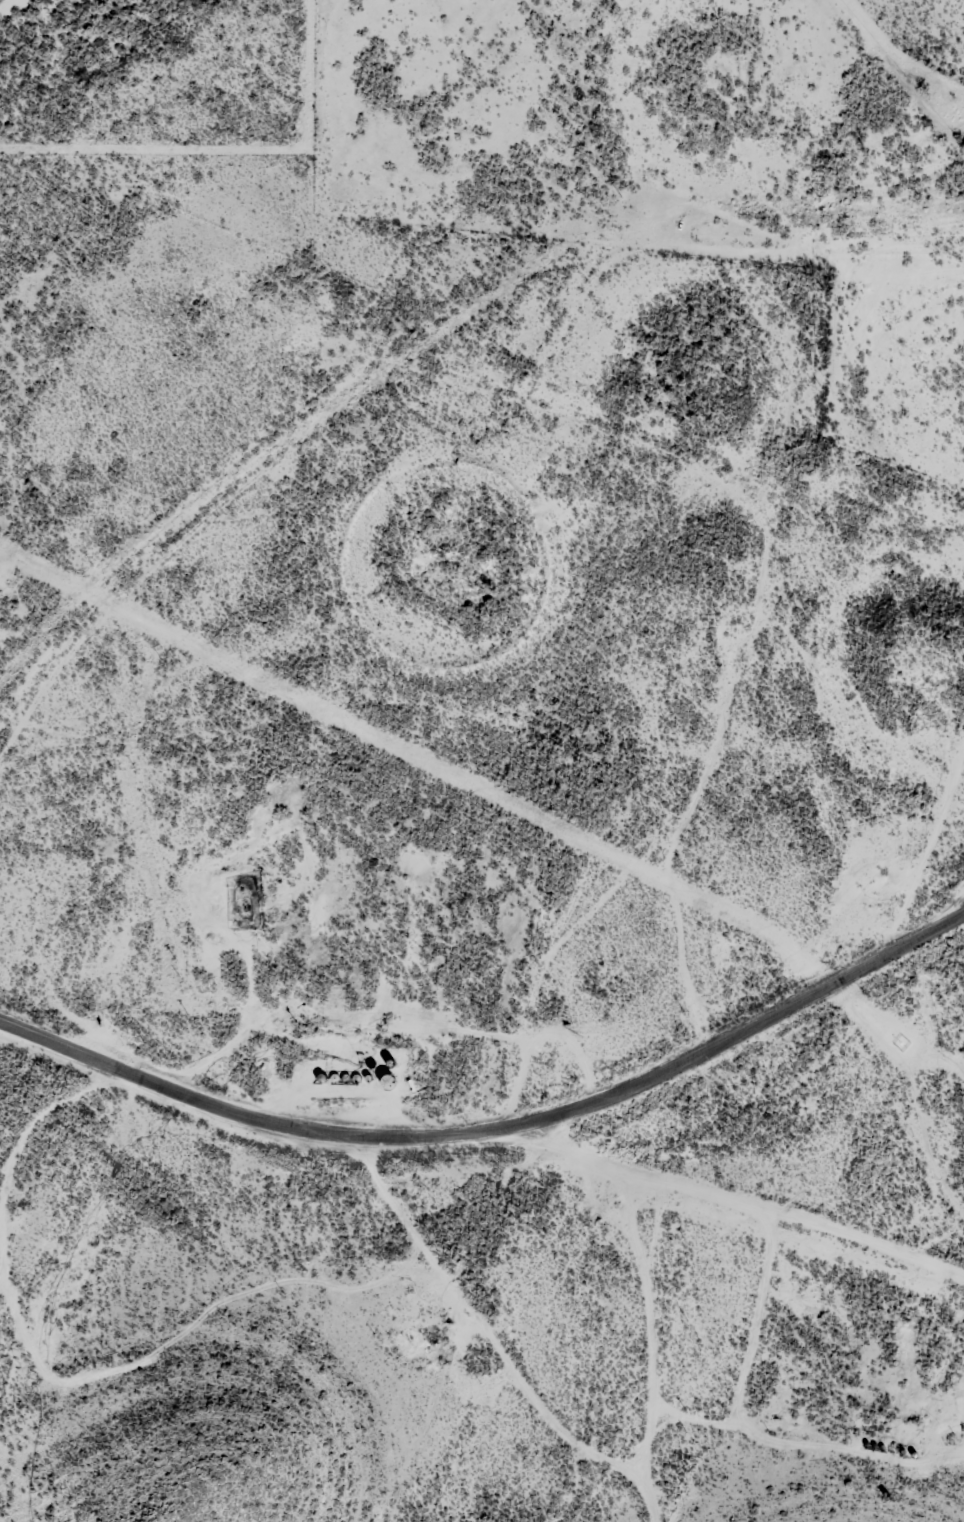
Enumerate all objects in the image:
building: (385, 1079)
road: (502, 1121)
road: (756, 1193)
road: (476, 1340)

